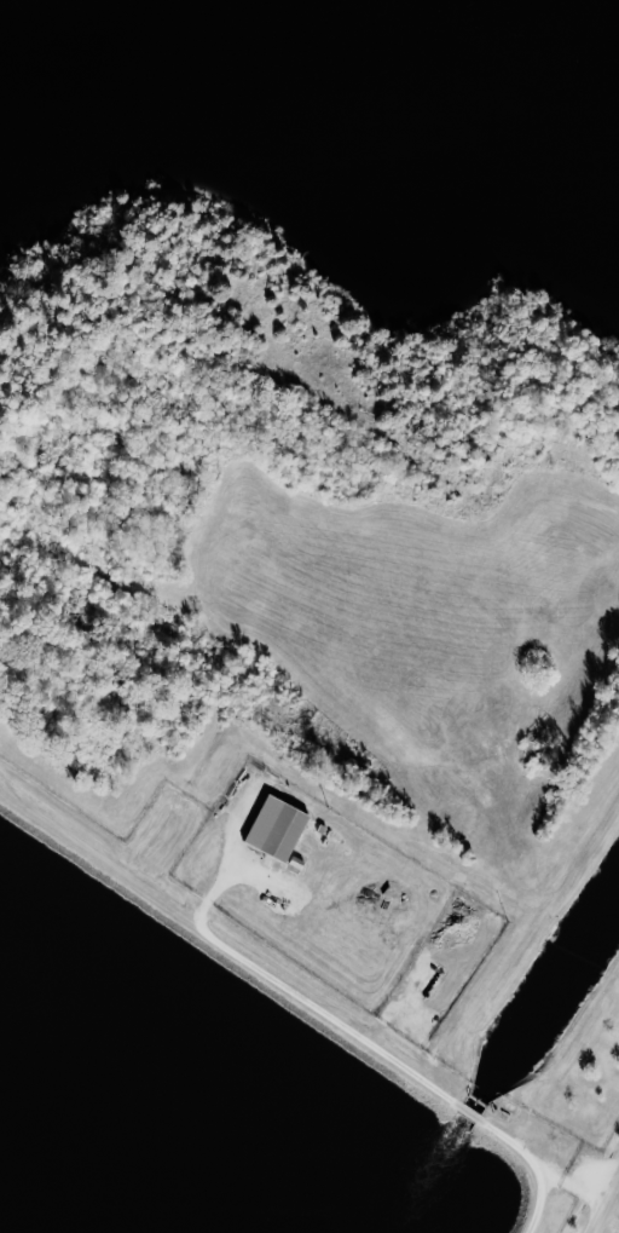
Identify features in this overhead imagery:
building: (276, 828)
road: (307, 1001)
road: (468, 1111)
road: (543, 1164)
road: (540, 1200)
road: (608, 1212)

